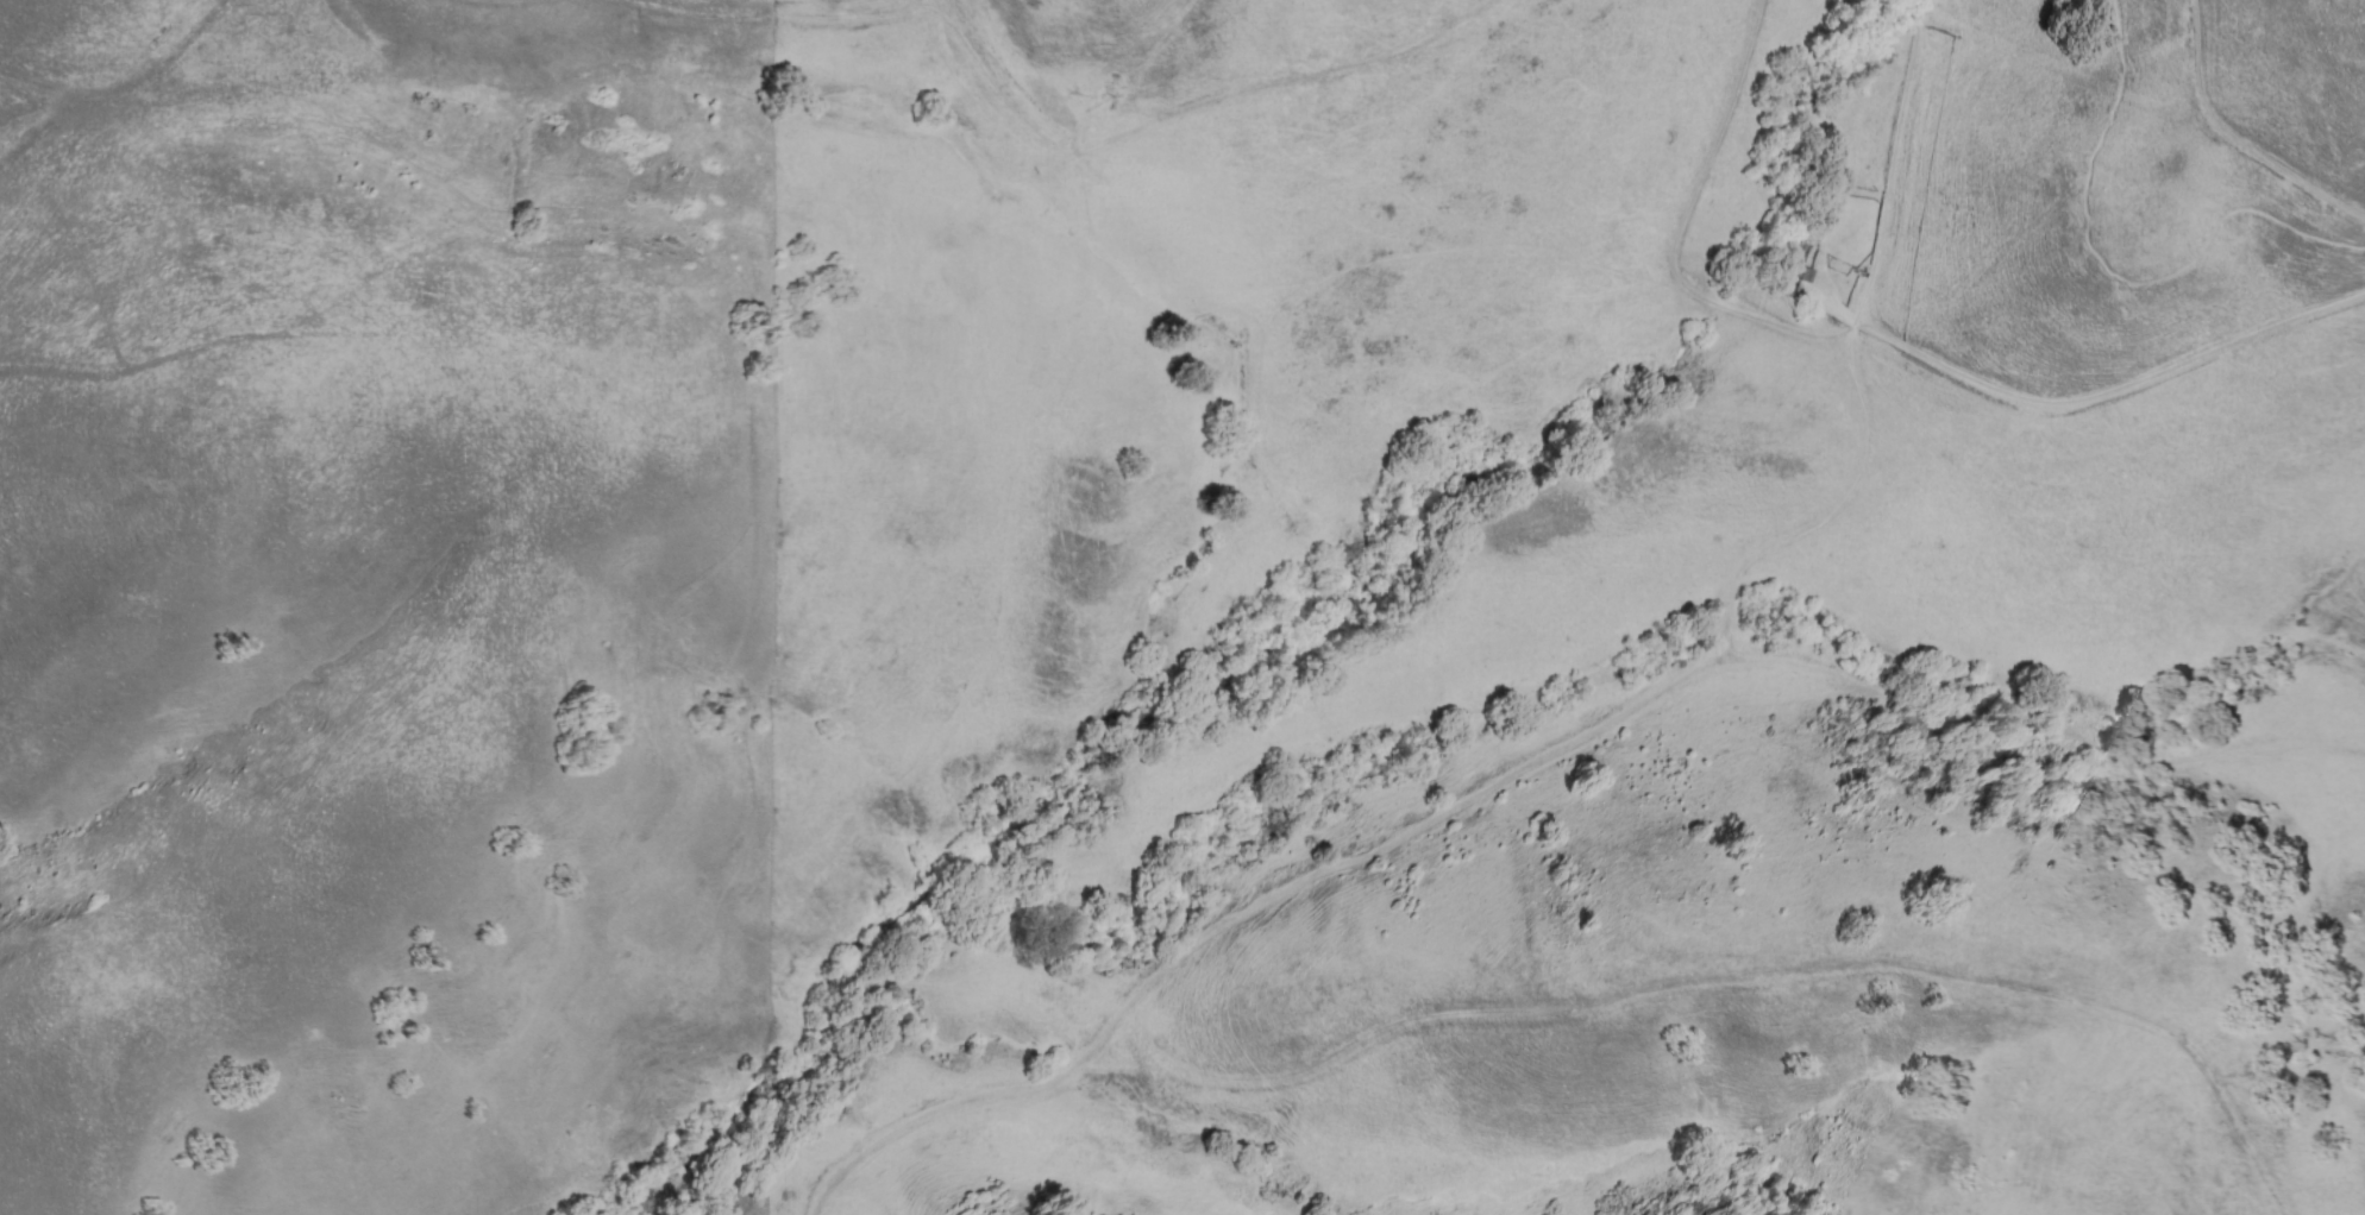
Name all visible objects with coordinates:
road: (697, 10)
road: (218, 14)
road: (805, 18)
road: (100, 96)
road: (1127, 138)
road: (2233, 138)
road: (1893, 160)
road: (1679, 233)
road: (2110, 271)
road: (1842, 336)
road: (1853, 344)
road: (2110, 390)
road: (1805, 524)
road: (1535, 762)
road: (1738, 976)

